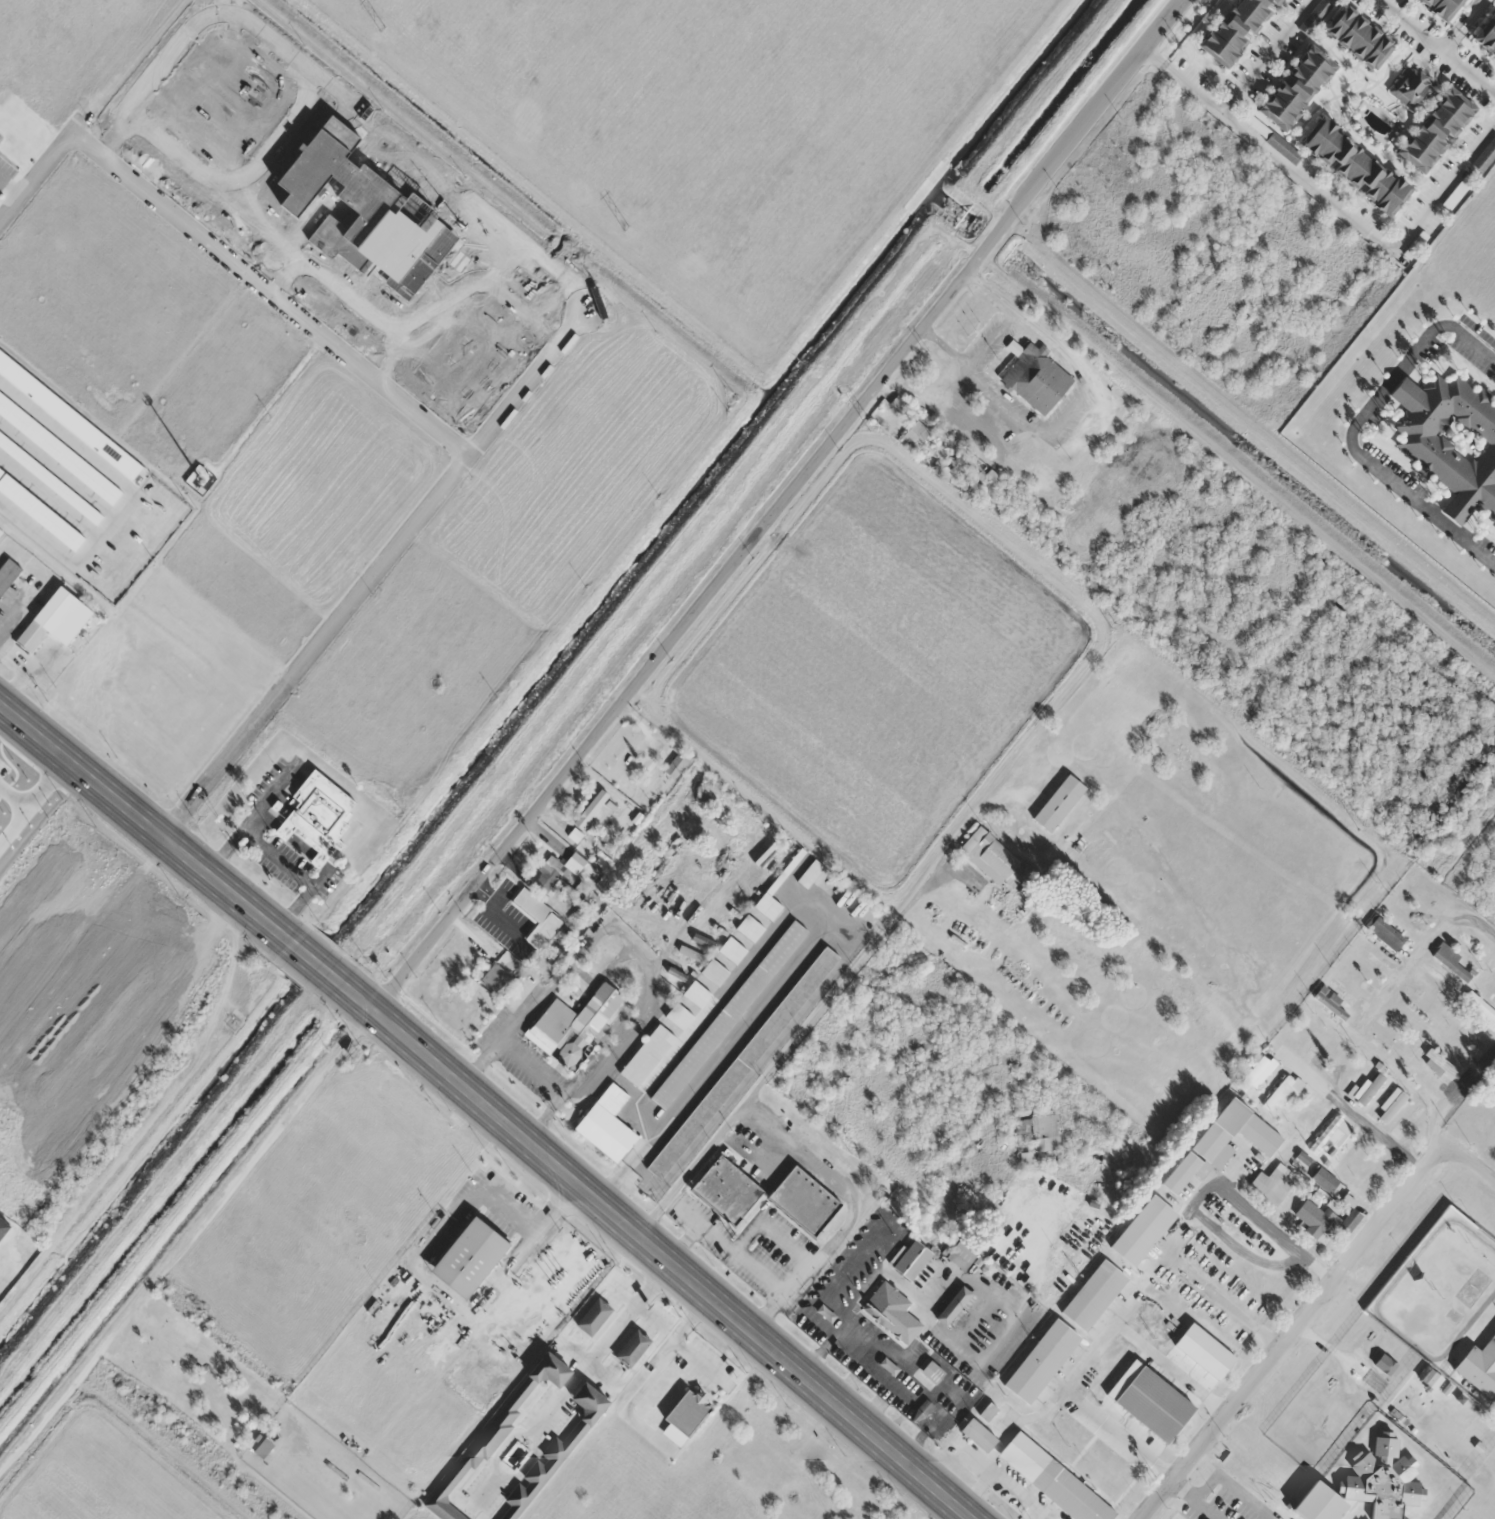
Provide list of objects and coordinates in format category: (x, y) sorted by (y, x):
building: (1440, 7)
power tower: (383, 28)
building: (1234, 29)
building: (1486, 35)
building: (1357, 37)
building: (1295, 87)
building: (1410, 88)
crop: (717, 121)
building: (1434, 129)
building: (1485, 156)
building: (1353, 166)
road: (41, 169)
power tower: (627, 227)
road: (269, 295)
building: (1035, 377)
building: (897, 403)
building: (70, 417)
power tower: (874, 427)
building: (916, 433)
building: (1449, 441)
building: (59, 450)
building: (50, 479)
road: (776, 504)
building: (40, 511)
building: (1, 533)
building: (7, 571)
road: (374, 575)
building: (57, 618)
power tower: (1115, 625)
road: (555, 724)
building: (676, 764)
building: (1058, 803)
building: (594, 811)
building: (317, 818)
road: (146, 827)
power tower: (1362, 827)
building: (575, 834)
building: (994, 860)
building: (578, 863)
building: (548, 873)
building: (769, 905)
building: (751, 927)
building: (1384, 932)
building: (733, 949)
road: (1417, 950)
building: (1371, 952)
building: (692, 953)
building: (1451, 961)
road: (321, 966)
building: (1493, 970)
building: (715, 971)
building: (495, 977)
building: (1436, 981)
building: (520, 991)
building: (697, 993)
building: (1327, 1007)
building: (1483, 1012)
building: (680, 1016)
road: (1256, 1017)
building: (573, 1023)
building: (1453, 1049)
building: (648, 1054)
building: (1372, 1054)
building: (742, 1063)
building: (1445, 1072)
building: (1257, 1075)
building: (1425, 1086)
building: (1364, 1091)
building: (1281, 1094)
road: (1455, 1101)
building: (1388, 1106)
building: (1489, 1113)
building: (608, 1123)
building: (1409, 1124)
building: (1044, 1131)
building: (1331, 1135)
building: (1219, 1148)
building: (1378, 1172)
building: (1325, 1181)
building: (1272, 1185)
building: (726, 1191)
building: (802, 1201)
building: (1325, 1221)
road: (1279, 1225)
building: (4, 1227)
building: (1143, 1231)
road: (185, 1238)
road: (657, 1252)
building: (961, 1255)
building: (473, 1256)
building: (911, 1261)
building: (987, 1271)
building: (1093, 1296)
building: (885, 1305)
building: (952, 1306)
road: (1232, 1306)
road: (1311, 1311)
building: (595, 1316)
building: (1364, 1338)
building: (634, 1348)
building: (1382, 1351)
building: (1040, 1362)
building: (1479, 1368)
road: (1180, 1369)
building: (929, 1375)
building: (692, 1410)
building: (497, 1431)
road: (1124, 1435)
building: (556, 1453)
building: (1036, 1472)
building: (1367, 1489)
building: (308, 1499)

